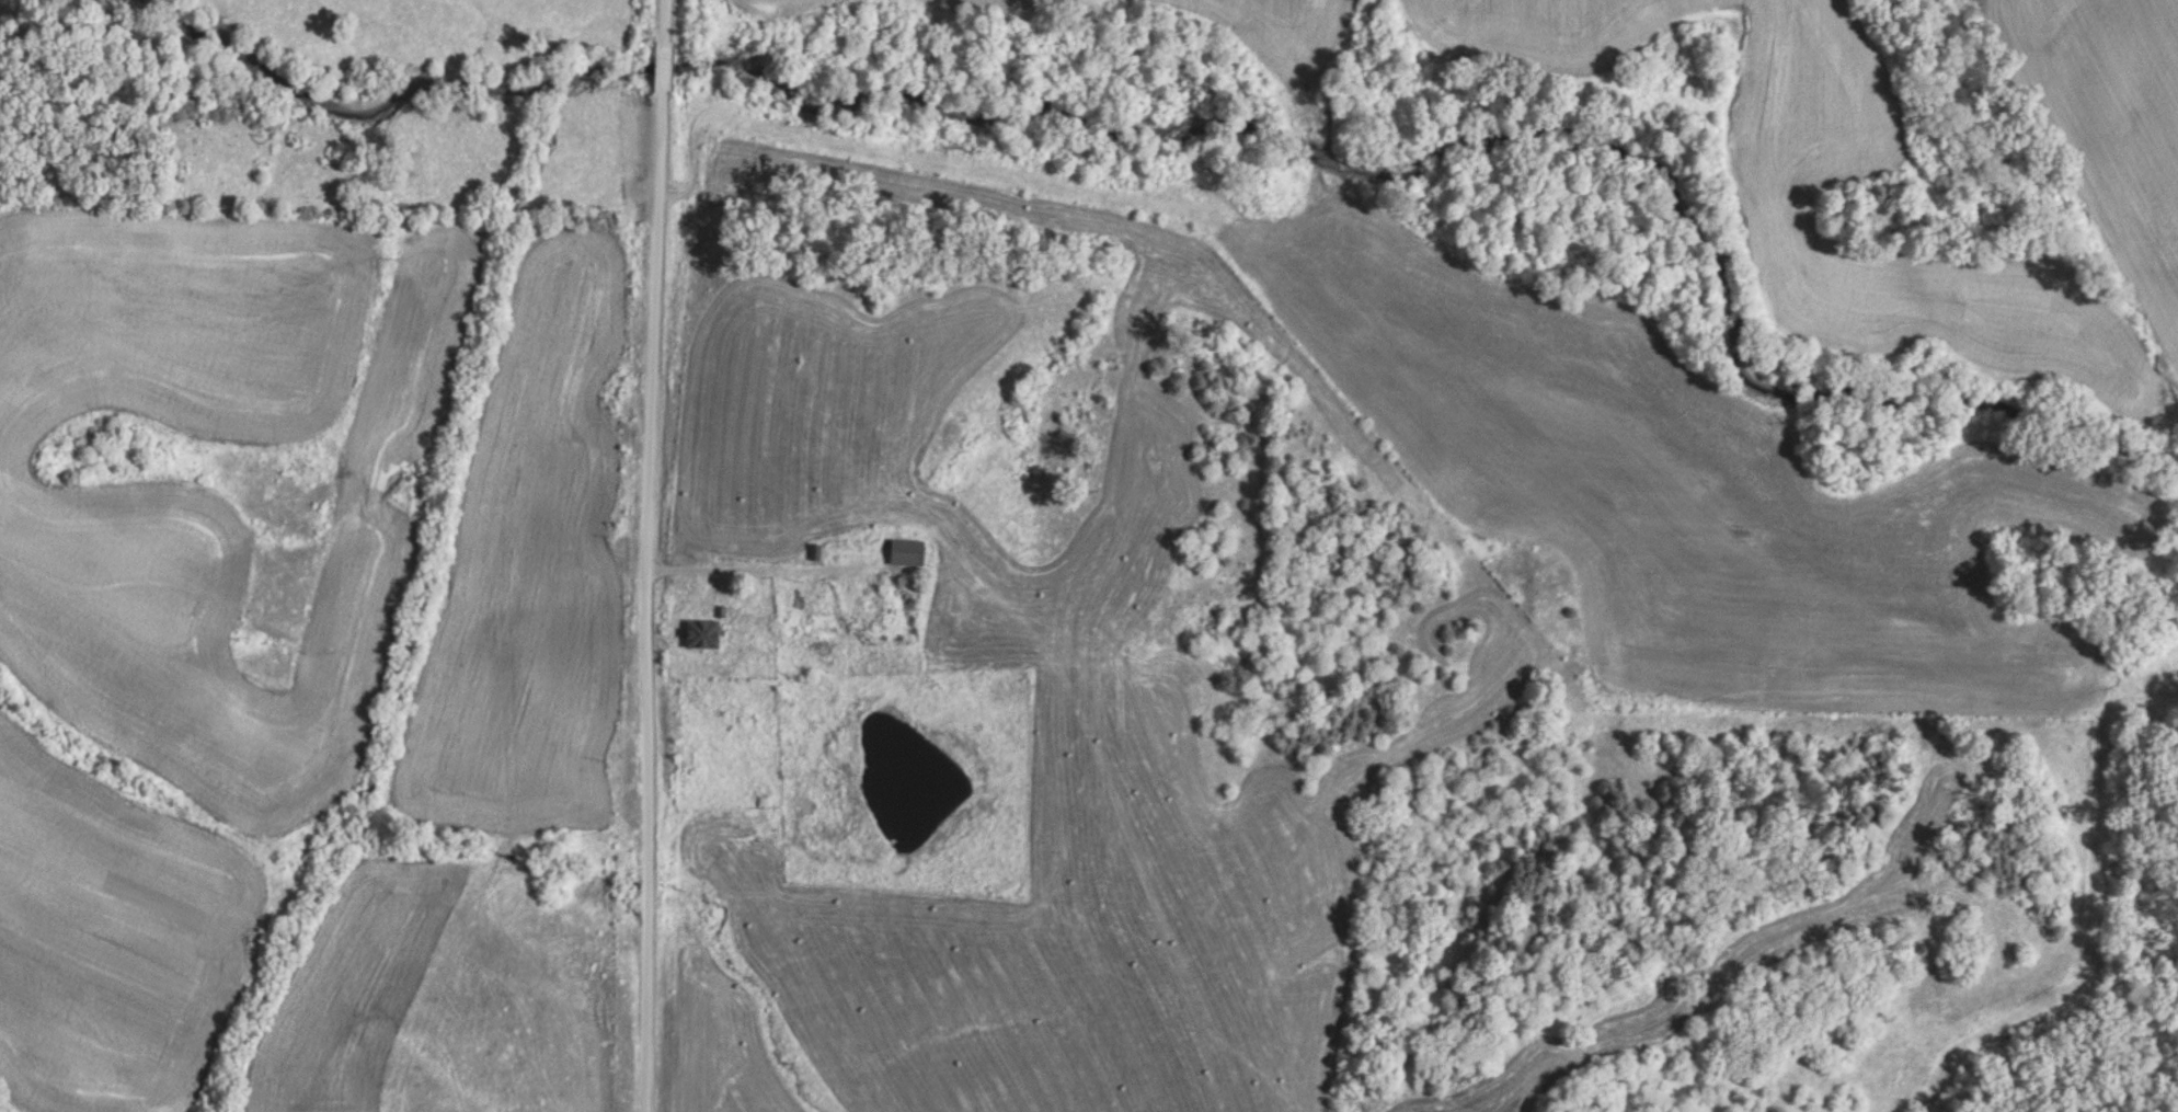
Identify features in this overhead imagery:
road: (667, 20)
road: (665, 66)
building: (909, 552)
road: (647, 600)
building: (703, 634)

